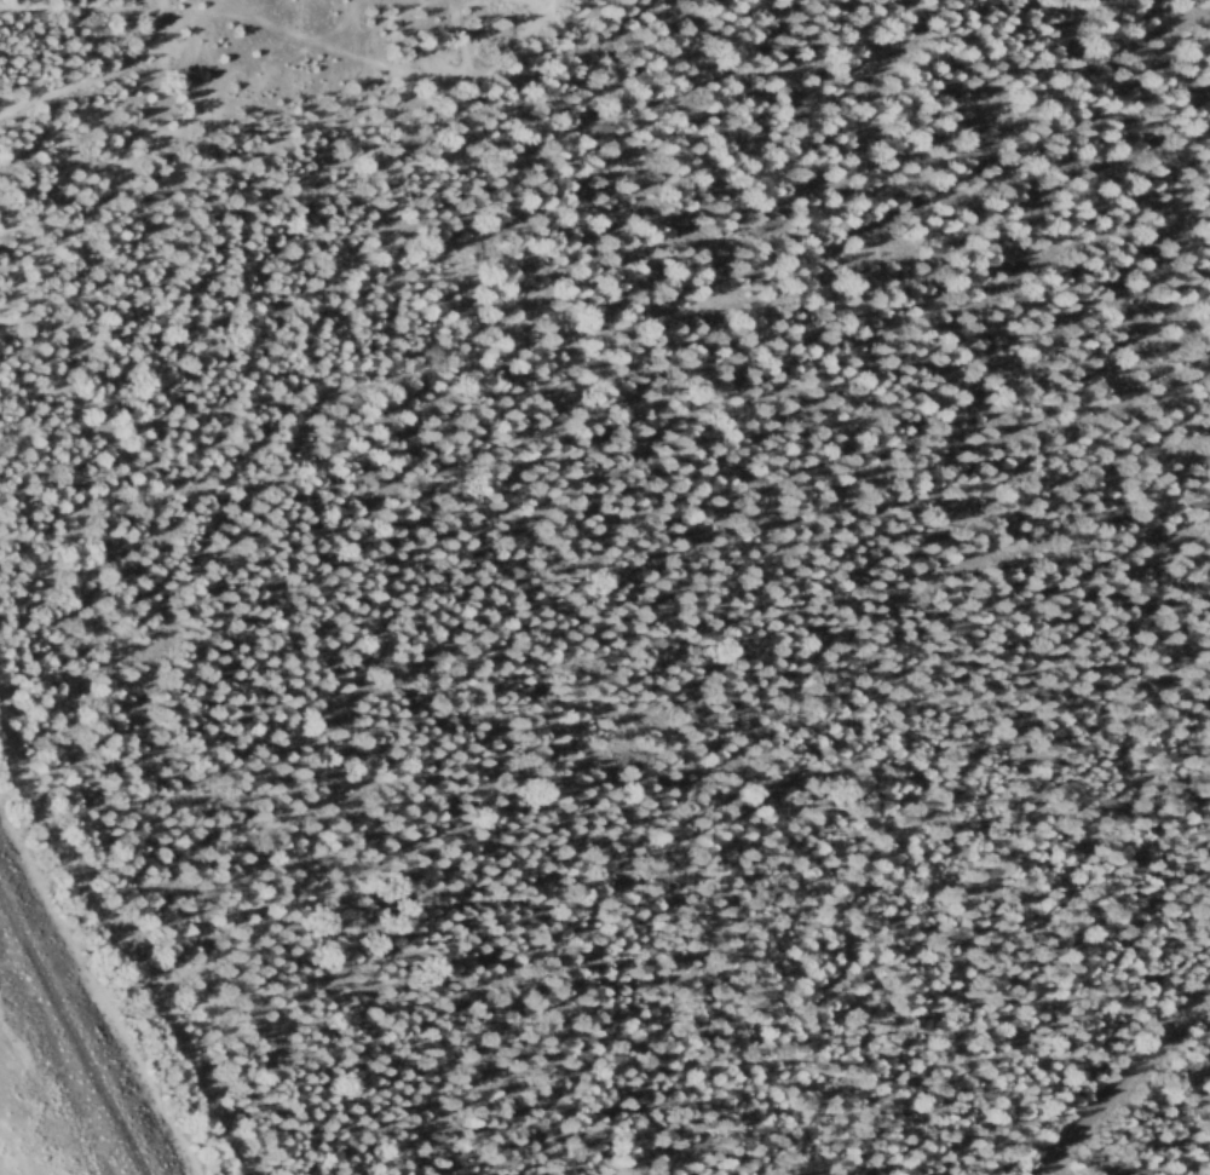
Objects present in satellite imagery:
road: (120, 940)
road: (1123, 1076)

